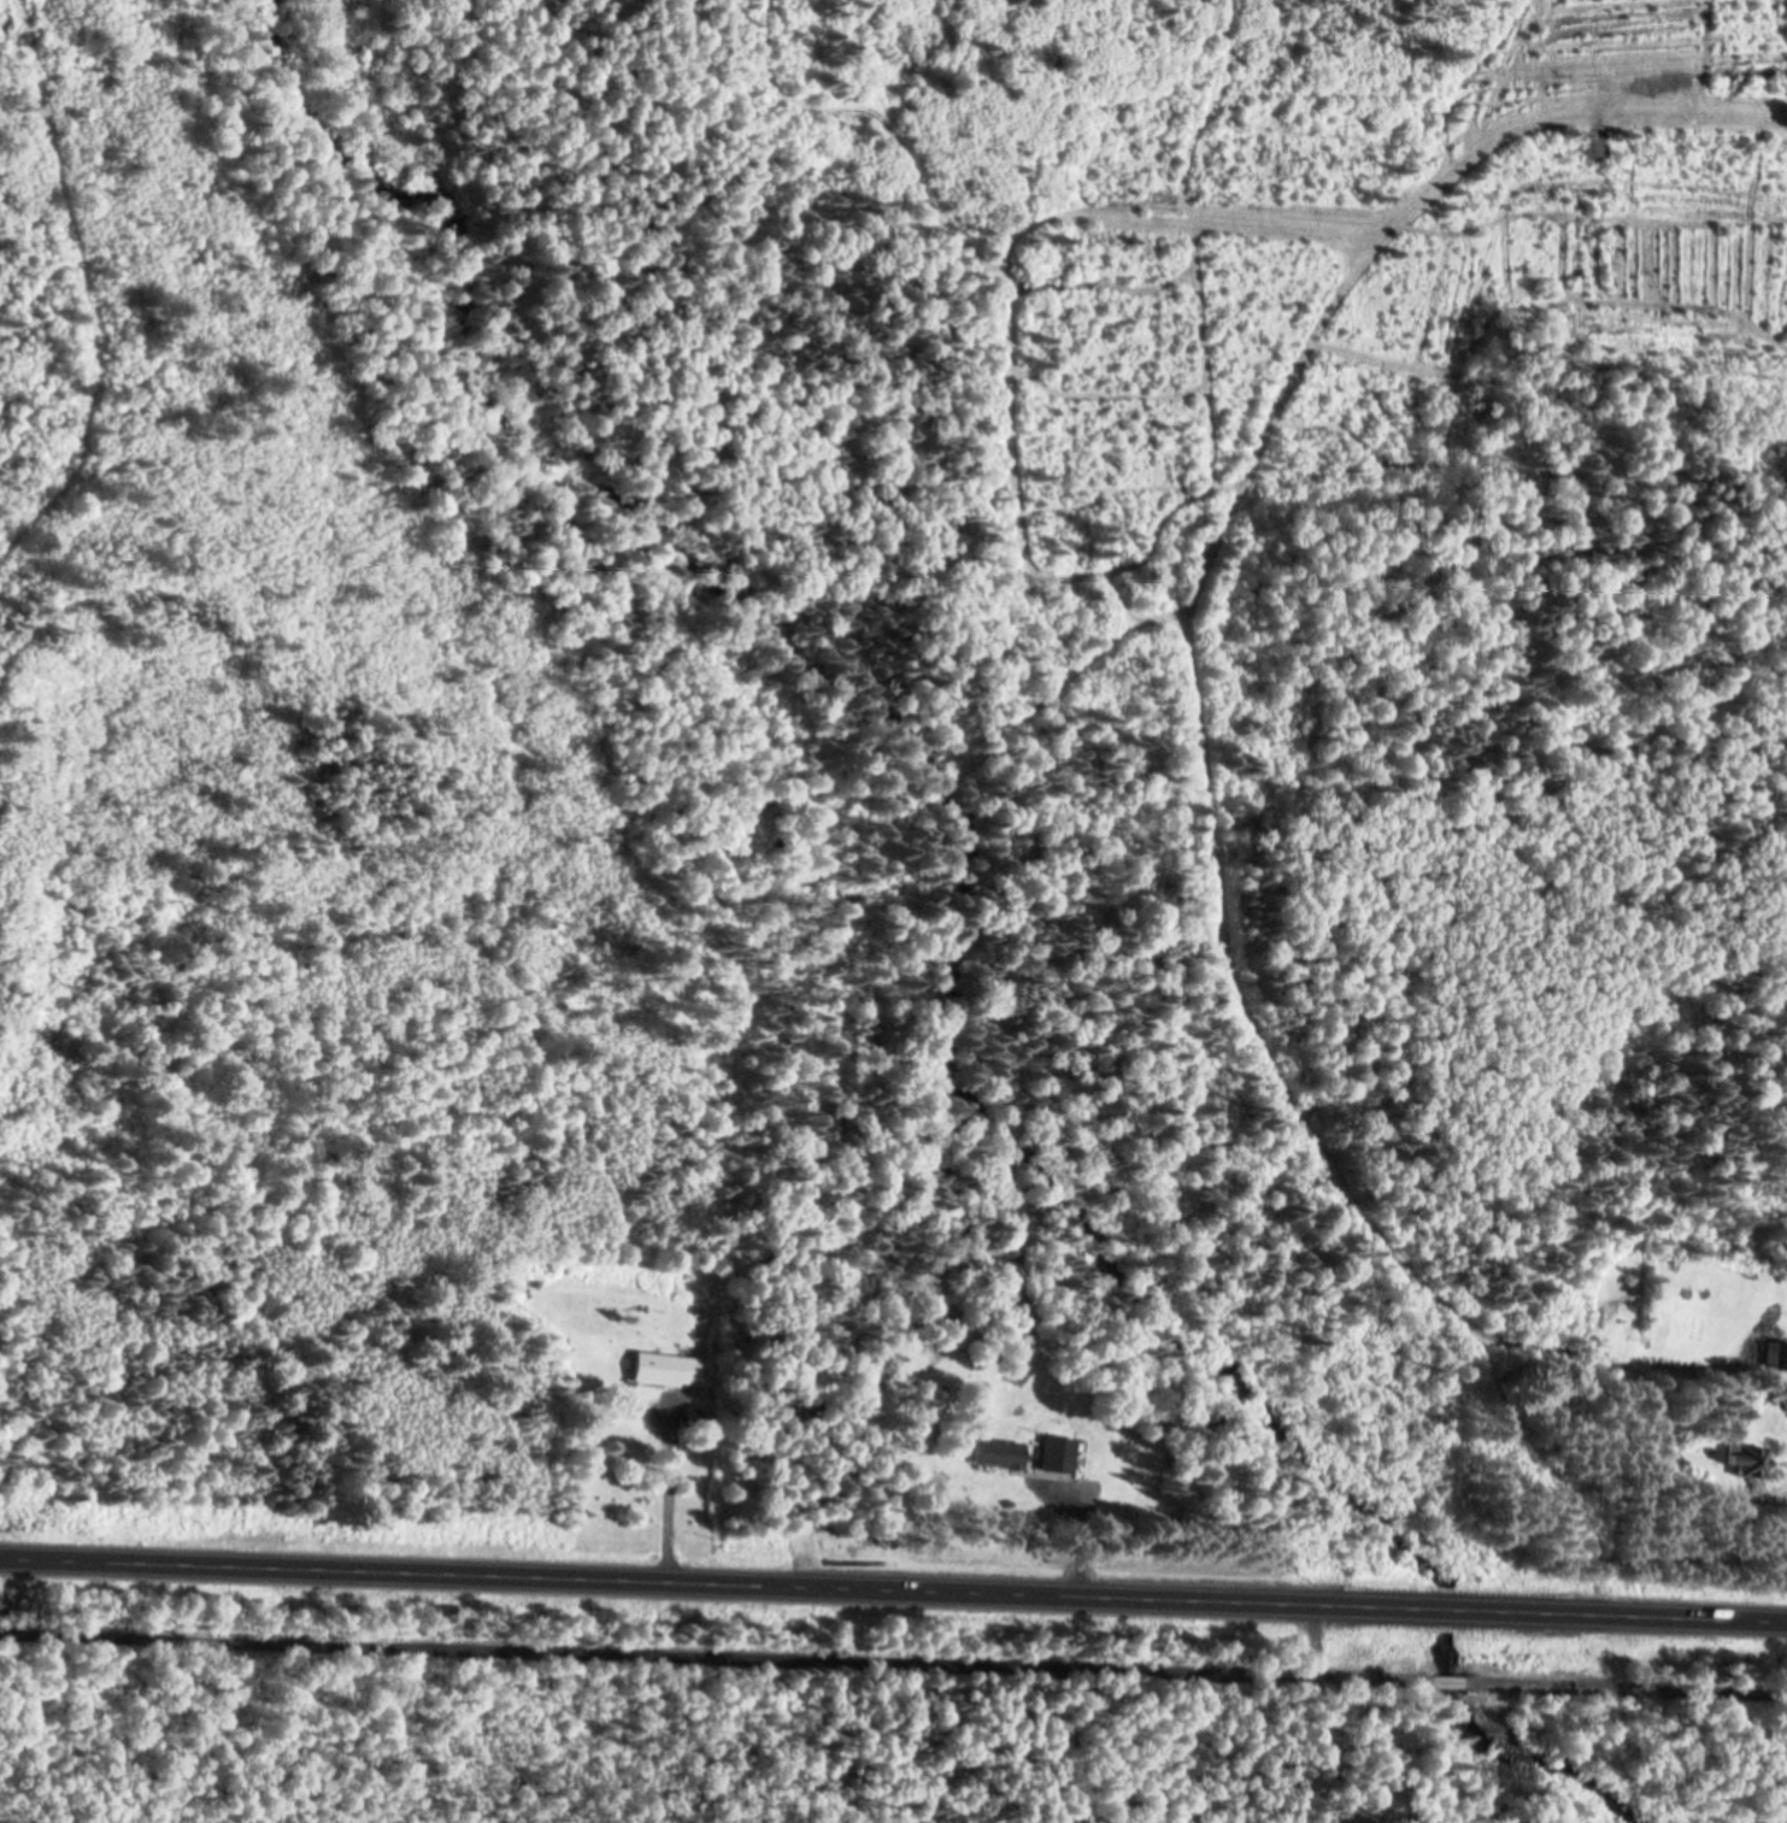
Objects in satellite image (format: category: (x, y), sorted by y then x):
building: (1777, 1353)
building: (669, 1366)
building: (1001, 1451)
building: (1060, 1452)
building: (1753, 1462)
road: (893, 1587)
road: (893, 1660)

